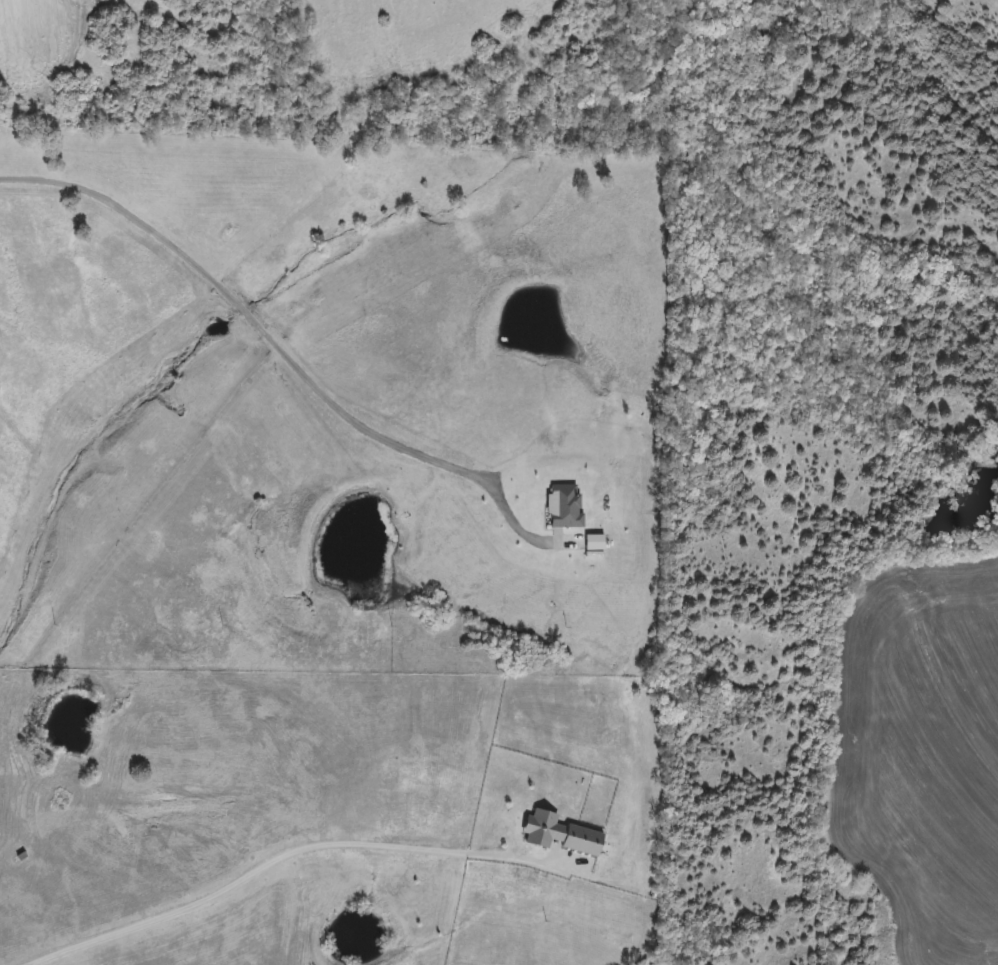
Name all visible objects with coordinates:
road: (280, 354)
road: (266, 863)

